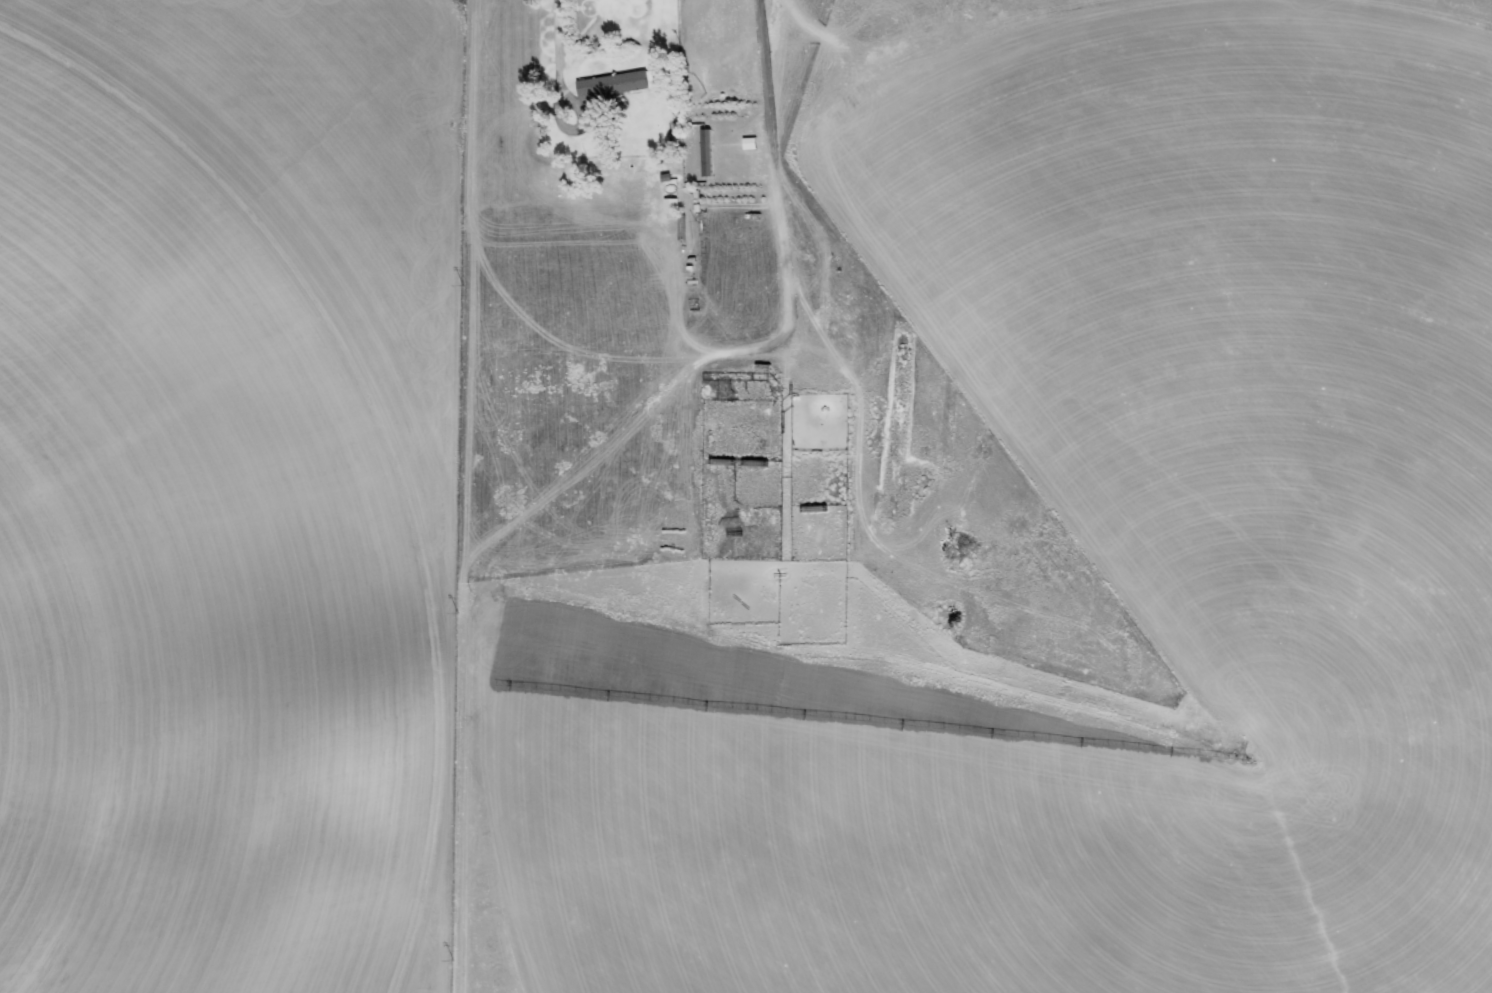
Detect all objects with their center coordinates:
road: (556, 39)
building: (612, 84)
road: (830, 140)
building: (749, 144)
building: (706, 153)
building: (671, 206)
road: (465, 496)

